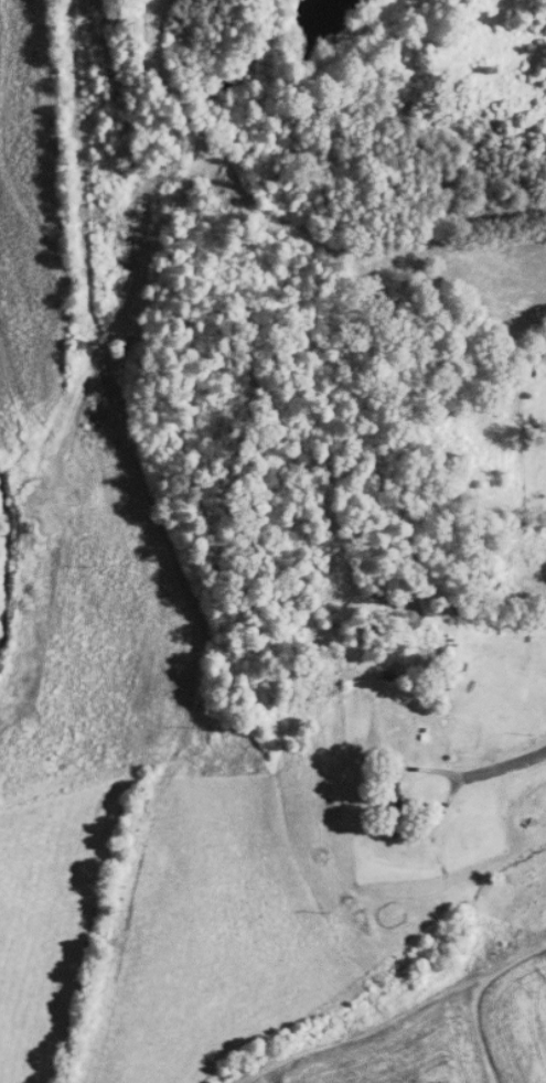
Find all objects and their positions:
building: (524, 673)
road: (500, 758)
building: (394, 806)

